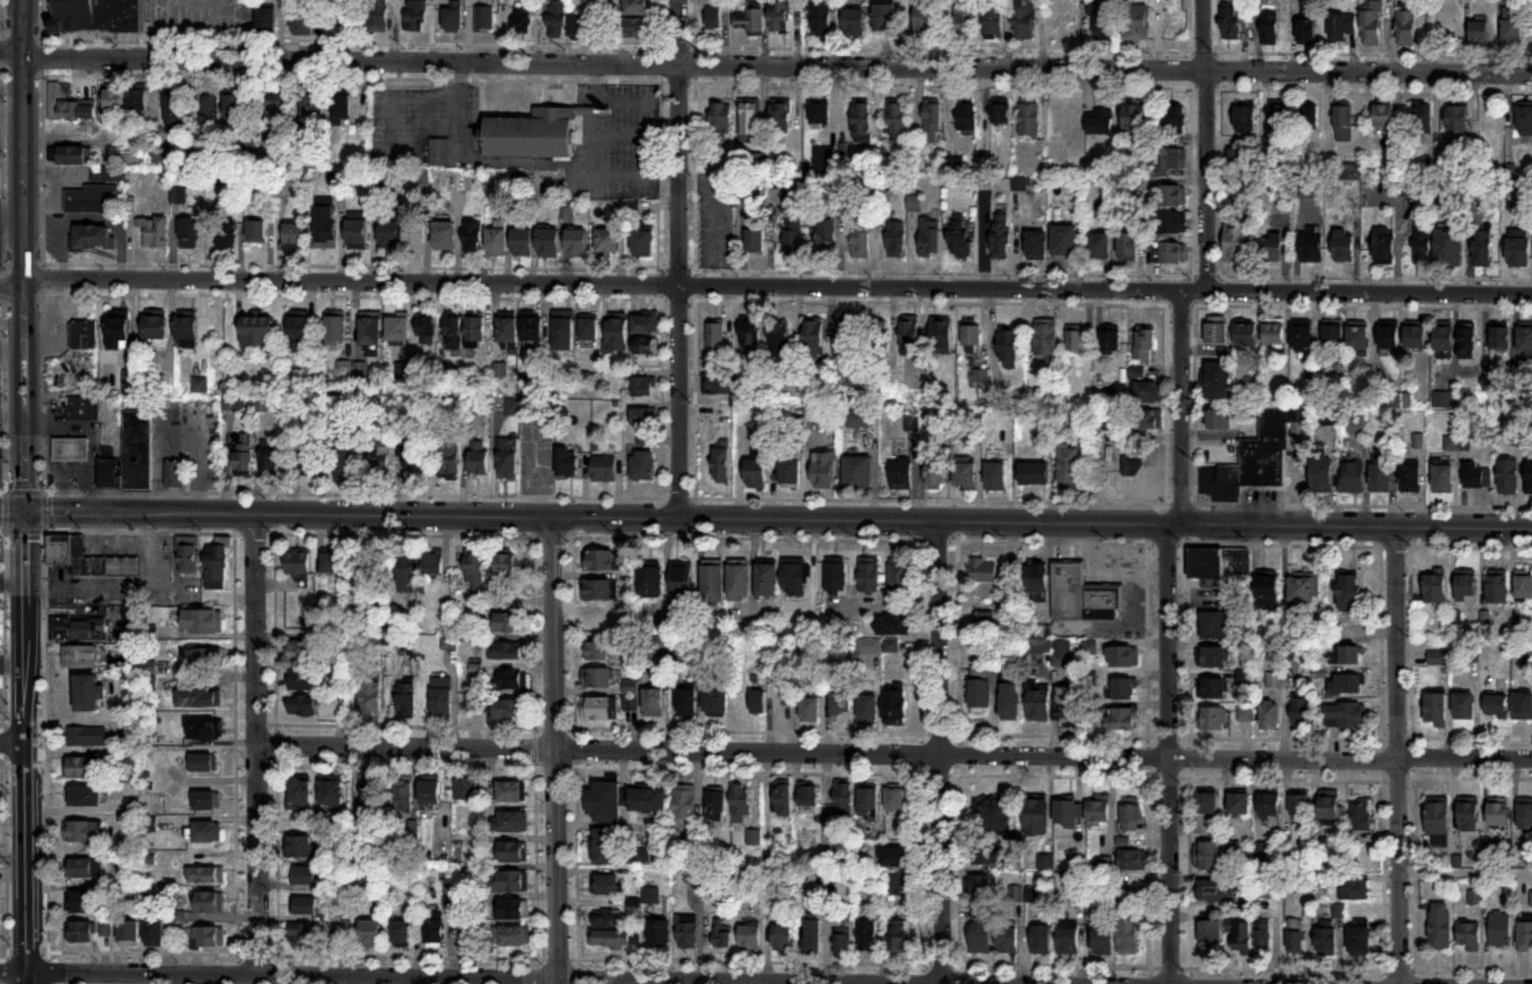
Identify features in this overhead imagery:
building: (635, 7)
building: (350, 15)
building: (416, 15)
building: (885, 15)
building: (98, 16)
building: (377, 16)
building: (779, 16)
building: (452, 17)
building: (301, 18)
building: (484, 18)
building: (714, 18)
building: (752, 18)
building: (965, 18)
road: (6, 19)
building: (822, 19)
building: (994, 19)
building: (1024, 19)
building: (557, 20)
building: (926, 20)
building: (1100, 20)
building: (523, 21)
building: (1059, 21)
building: (265, 22)
building: (1135, 22)
building: (854, 23)
building: (1231, 23)
building: (1372, 25)
building: (1513, 26)
building: (579, 27)
building: (1342, 27)
building: (636, 28)
building: (1269, 28)
building: (1406, 29)
road: (160, 30)
road: (239, 30)
building: (1307, 32)
building: (1480, 33)
road: (765, 65)
road: (594, 83)
building: (114, 99)
building: (137, 100)
building: (67, 104)
building: (277, 107)
building: (312, 107)
building: (340, 107)
building: (233, 109)
road: (594, 110)
building: (174, 111)
building: (209, 111)
building: (820, 114)
building: (1001, 114)
building: (1310, 116)
building: (1384, 116)
building: (781, 117)
building: (967, 117)
building: (1030, 117)
building: (1245, 118)
building: (1458, 118)
building: (721, 119)
building: (750, 119)
building: (1423, 119)
building: (862, 120)
building: (1135, 120)
building: (1525, 121)
building: (897, 122)
building: (1100, 122)
building: (1175, 122)
building: (933, 123)
building: (1280, 123)
building: (1344, 124)
building: (535, 133)
road: (1205, 146)
building: (439, 153)
building: (73, 156)
building: (1174, 159)
road: (610, 172)
road: (5, 173)
building: (101, 175)
building: (1020, 185)
building: (1170, 195)
building: (89, 199)
building: (1173, 222)
building: (324, 227)
building: (356, 229)
building: (155, 231)
building: (189, 232)
building: (256, 232)
building: (295, 234)
building: (226, 235)
building: (389, 235)
building: (444, 235)
building: (794, 235)
building: (413, 236)
building: (1001, 236)
building: (92, 237)
building: (471, 237)
building: (496, 237)
building: (930, 237)
building: (827, 238)
building: (643, 240)
building: (755, 240)
building: (897, 240)
building: (961, 240)
building: (521, 241)
building: (548, 241)
building: (608, 241)
building: (861, 241)
building: (577, 242)
building: (1064, 242)
building: (1422, 242)
building: (1235, 243)
building: (1036, 245)
building: (1100, 245)
building: (1449, 245)
building: (1127, 246)
building: (1344, 246)
building: (1384, 246)
building: (1270, 248)
building: (1311, 248)
building: (1482, 248)
building: (1519, 250)
building: (1172, 252)
road: (681, 259)
road: (765, 287)
road: (6, 288)
building: (645, 323)
building: (154, 327)
building: (186, 328)
building: (335, 328)
building: (370, 329)
building: (397, 329)
building: (532, 329)
building: (589, 329)
building: (1216, 330)
building: (425, 331)
building: (474, 331)
building: (506, 331)
building: (117, 332)
building: (257, 332)
building: (299, 332)
building: (83, 334)
building: (453, 334)
building: (562, 334)
building: (617, 334)
building: (1273, 334)
building: (1332, 334)
building: (1415, 335)
building: (751, 336)
building: (909, 336)
building: (941, 336)
building: (972, 336)
building: (1246, 336)
building: (716, 337)
building: (850, 337)
building: (880, 337)
building: (1046, 337)
building: (1301, 337)
building: (779, 338)
building: (814, 338)
building: (1357, 338)
building: (1388, 338)
building: (1444, 338)
building: (1500, 339)
building: (1075, 340)
building: (1525, 340)
building: (1111, 341)
building: (1467, 343)
building: (646, 345)
building: (1145, 346)
building: (1008, 349)
building: (980, 376)
building: (1217, 380)
building: (721, 383)
building: (643, 386)
building: (1149, 392)
road: (5, 397)
building: (267, 403)
building: (82, 411)
building: (643, 416)
building: (859, 418)
building: (1145, 419)
building: (1218, 419)
building: (70, 447)
building: (137, 450)
building: (1271, 451)
building: (244, 453)
building: (379, 456)
building: (268, 457)
building: (411, 457)
building: (478, 458)
building: (506, 458)
building: (1132, 458)
building: (448, 460)
building: (342, 462)
building: (566, 462)
building: (642, 463)
building: (308, 464)
building: (721, 464)
building: (1069, 465)
building: (602, 466)
building: (822, 467)
building: (856, 468)
building: (755, 471)
building: (789, 471)
building: (1321, 471)
building: (107, 472)
building: (173, 473)
building: (899, 473)
building: (964, 473)
building: (1034, 473)
building: (935, 474)
building: (994, 474)
building: (1475, 474)
building: (1506, 474)
building: (1380, 475)
building: (1409, 476)
building: (1441, 476)
building: (1529, 476)
building: (1351, 477)
road: (25, 491)
road: (712, 497)
road: (1363, 503)
traffic signals: (25, 513)
road: (765, 520)
road: (1167, 542)
road: (1454, 545)
building: (187, 558)
building: (88, 560)
building: (296, 561)
building: (599, 561)
building: (330, 563)
building: (432, 563)
building: (1218, 563)
building: (216, 565)
building: (504, 567)
building: (474, 570)
building: (868, 572)
building: (987, 572)
building: (406, 573)
building: (793, 574)
building: (899, 576)
building: (369, 577)
building: (836, 577)
building: (681, 578)
building: (713, 578)
building: (739, 578)
building: (767, 578)
building: (1037, 581)
building: (650, 582)
building: (1433, 586)
building: (1495, 586)
building: (1523, 586)
building: (1303, 588)
building: (1466, 589)
building: (598, 591)
building: (1081, 592)
building: (1267, 592)
building: (1349, 593)
building: (201, 622)
building: (508, 623)
building: (598, 623)
building: (984, 623)
building: (894, 624)
building: (1213, 626)
building: (78, 630)
road: (1166, 636)
building: (449, 642)
building: (872, 646)
building: (891, 646)
building: (308, 651)
building: (505, 651)
building: (599, 652)
building: (1210, 654)
building: (1349, 655)
building: (79, 657)
building: (1123, 657)
building: (203, 658)
building: (1439, 658)
building: (1060, 659)
road: (13, 661)
building: (597, 679)
building: (301, 680)
building: (510, 680)
building: (1274, 680)
building: (1346, 685)
building: (1122, 687)
building: (1211, 689)
building: (89, 694)
building: (631, 696)
building: (979, 696)
building: (198, 697)
building: (441, 697)
building: (371, 699)
building: (407, 700)
building: (1039, 701)
building: (687, 702)
building: (759, 702)
building: (1010, 702)
building: (653, 703)
building: (716, 703)
building: (841, 703)
building: (1069, 703)
building: (1462, 703)
building: (1495, 703)
building: (1521, 703)
building: (302, 706)
building: (1434, 706)
building: (896, 708)
building: (508, 710)
building: (598, 710)
building: (810, 710)
building: (869, 710)
building: (1300, 710)
building: (1245, 714)
building: (1345, 716)
building: (1270, 717)
building: (1122, 719)
building: (1212, 719)
building: (204, 729)
road: (1464, 735)
building: (87, 737)
road: (1291, 737)
road: (13, 745)
road: (258, 745)
road: (557, 750)
road: (941, 752)
road: (895, 753)
road: (1396, 755)
building: (204, 763)
building: (84, 769)
road: (1464, 775)
road: (1271, 777)
building: (466, 789)
building: (509, 792)
building: (330, 793)
building: (430, 793)
building: (299, 794)
building: (404, 796)
building: (84, 797)
building: (809, 797)
building: (843, 799)
building: (896, 799)
building: (647, 800)
building: (206, 801)
building: (783, 801)
building: (370, 802)
building: (869, 802)
building: (605, 803)
building: (684, 804)
building: (740, 804)
building: (1207, 804)
building: (1239, 805)
building: (1270, 805)
building: (1299, 806)
building: (716, 807)
building: (1331, 809)
building: (1098, 810)
building: (1069, 813)
building: (1525, 813)
building: (1359, 815)
building: (1499, 815)
building: (997, 816)
building: (1038, 817)
building: (1130, 817)
building: (1468, 817)
building: (1437, 819)
building: (512, 821)
building: (207, 833)
building: (84, 834)
building: (754, 838)
building: (300, 847)
building: (604, 847)
building: (508, 852)
building: (987, 856)
building: (1207, 856)
building: (895, 858)
road: (13, 859)
building: (1131, 861)
building: (1106, 863)
building: (83, 869)
road: (1352, 874)
building: (206, 876)
building: (304, 876)
building: (506, 882)
building: (894, 884)
building: (606, 885)
building: (1351, 887)
building: (1215, 890)
building: (982, 892)
building: (1016, 893)
building: (1078, 895)
building: (82, 902)
building: (209, 903)
building: (304, 906)
building: (511, 910)
building: (1338, 911)
building: (1440, 926)
building: (1498, 927)
building: (687, 931)
building: (369, 932)
building: (401, 932)
building: (1209, 932)
building: (79, 933)
building: (128, 933)
building: (153, 933)
building: (304, 933)
building: (433, 933)
building: (611, 933)
building: (659, 933)
building: (1468, 933)
building: (1525, 934)
building: (1067, 935)
building: (1126, 935)
building: (1295, 935)
building: (510, 936)
building: (721, 936)
building: (782, 936)
building: (868, 936)
building: (979, 936)
building: (1358, 936)
building: (750, 937)
building: (813, 937)
building: (1007, 937)
building: (1039, 937)
building: (1104, 937)
building: (1242, 937)
building: (1325, 937)
building: (209, 938)
building: (898, 938)
building: (1263, 938)
building: (843, 945)
road: (1168, 965)
road: (1472, 968)
road: (362, 977)

